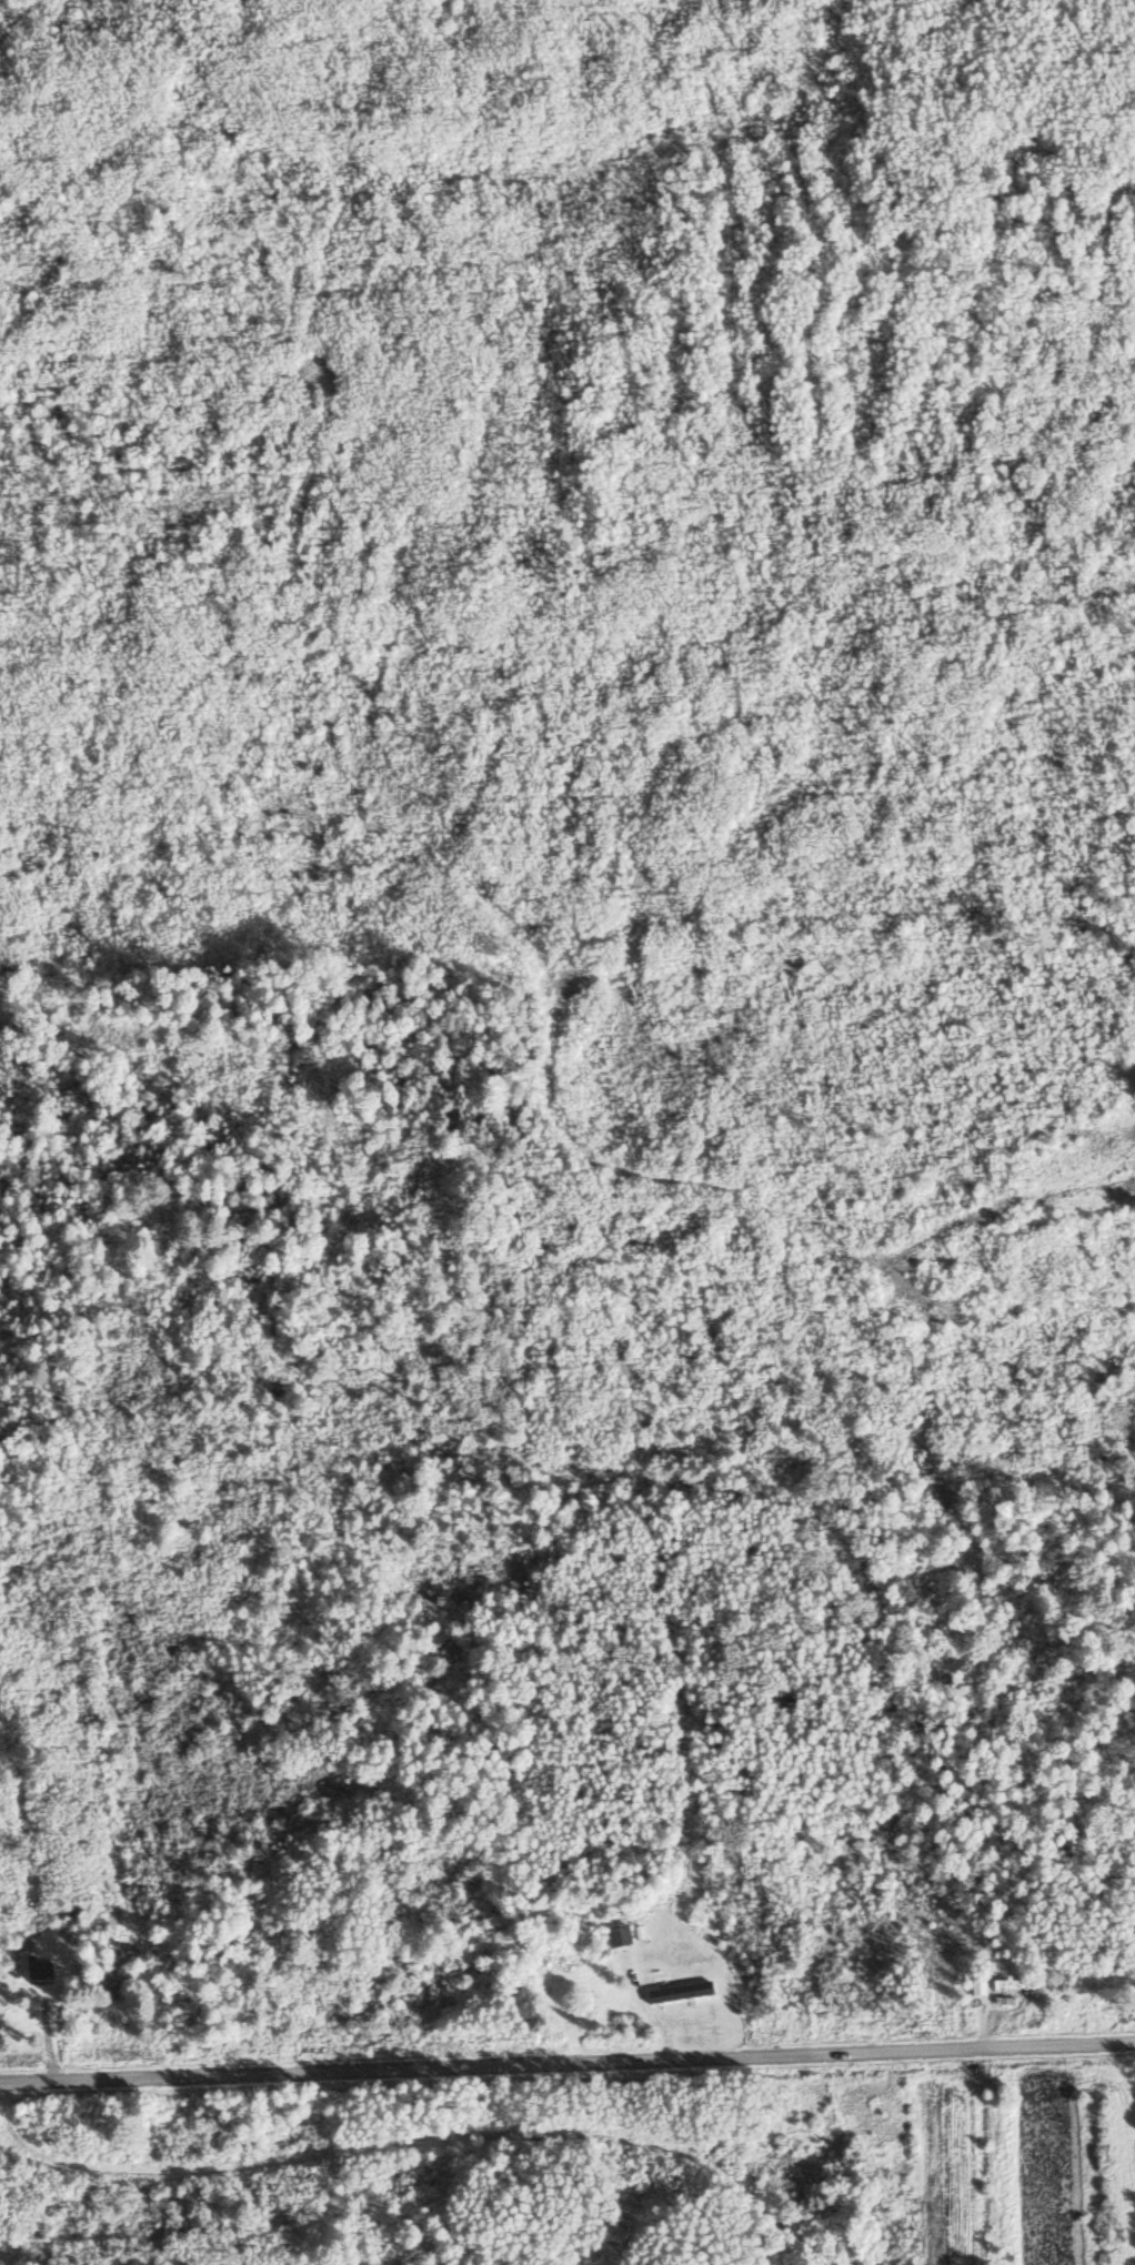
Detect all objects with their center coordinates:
building: (616, 1937)
building: (37, 1973)
building: (1001, 1987)
building: (677, 1995)
road: (567, 2061)

